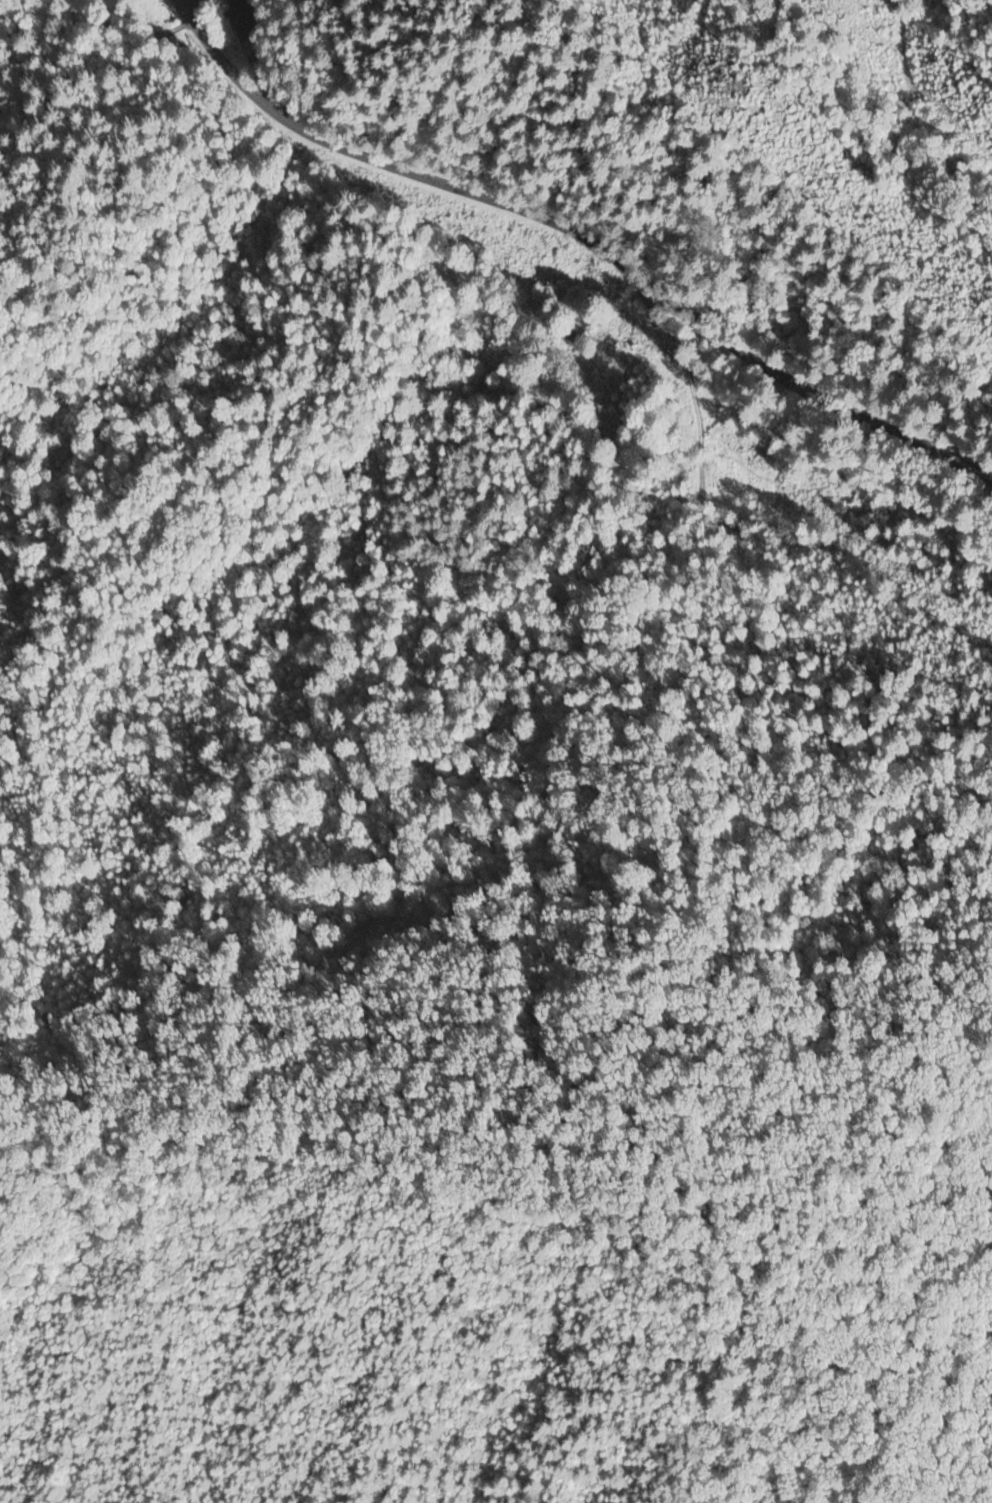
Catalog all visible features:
building: (242, 19)
power tower: (733, 88)
road: (578, 237)

